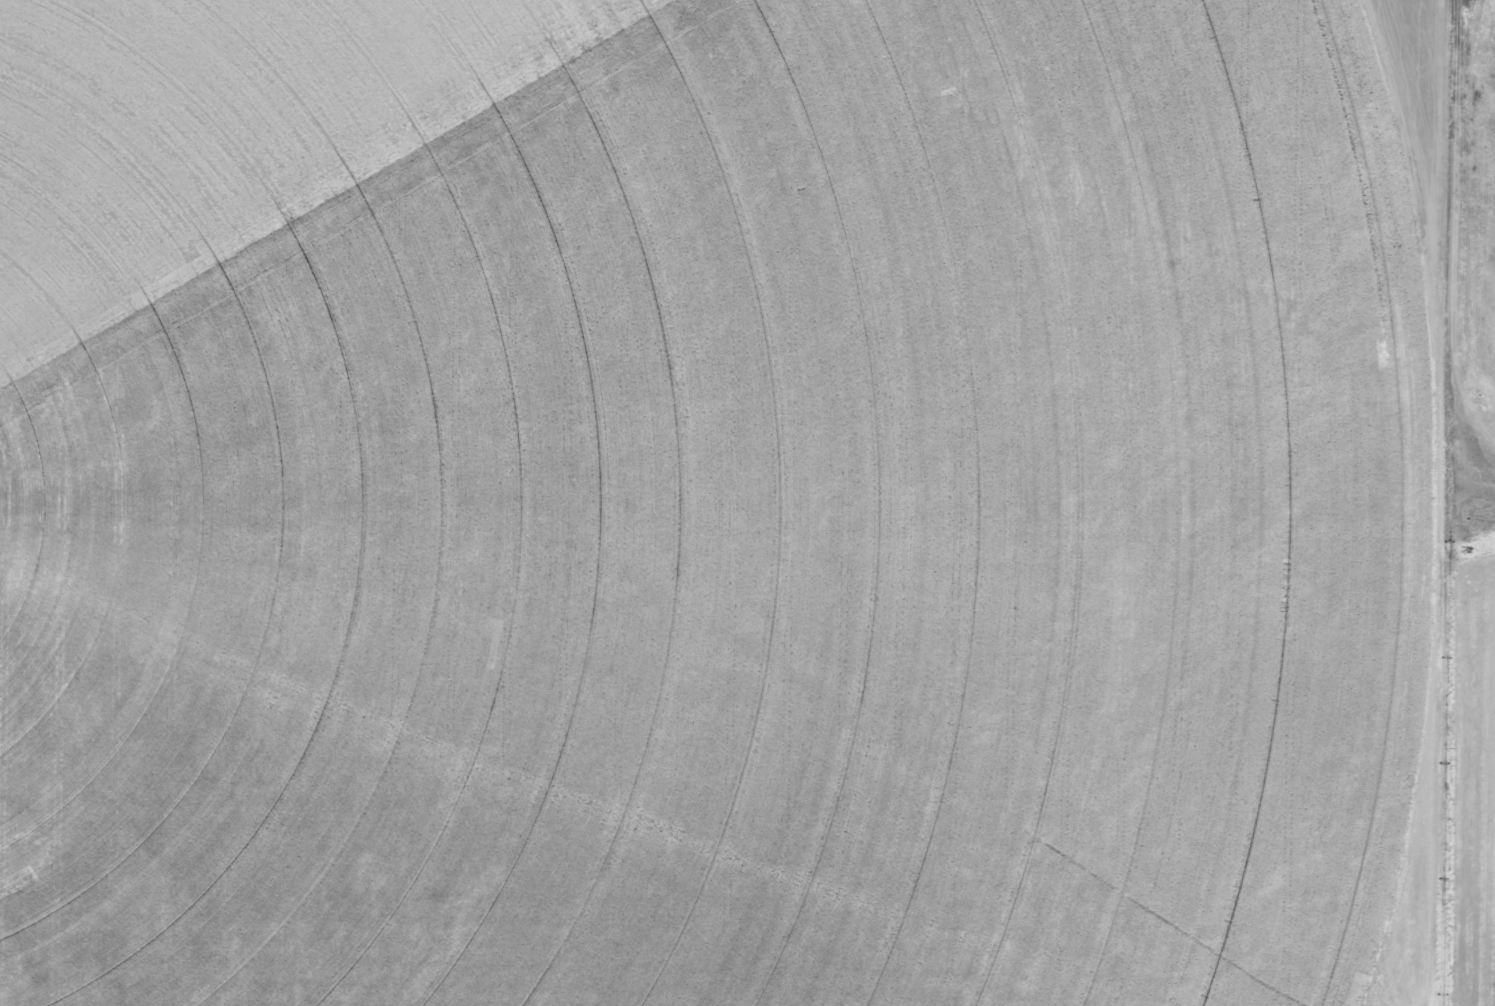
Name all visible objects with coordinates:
crop: (720, 502)
road: (1417, 503)
crop: (1472, 527)

